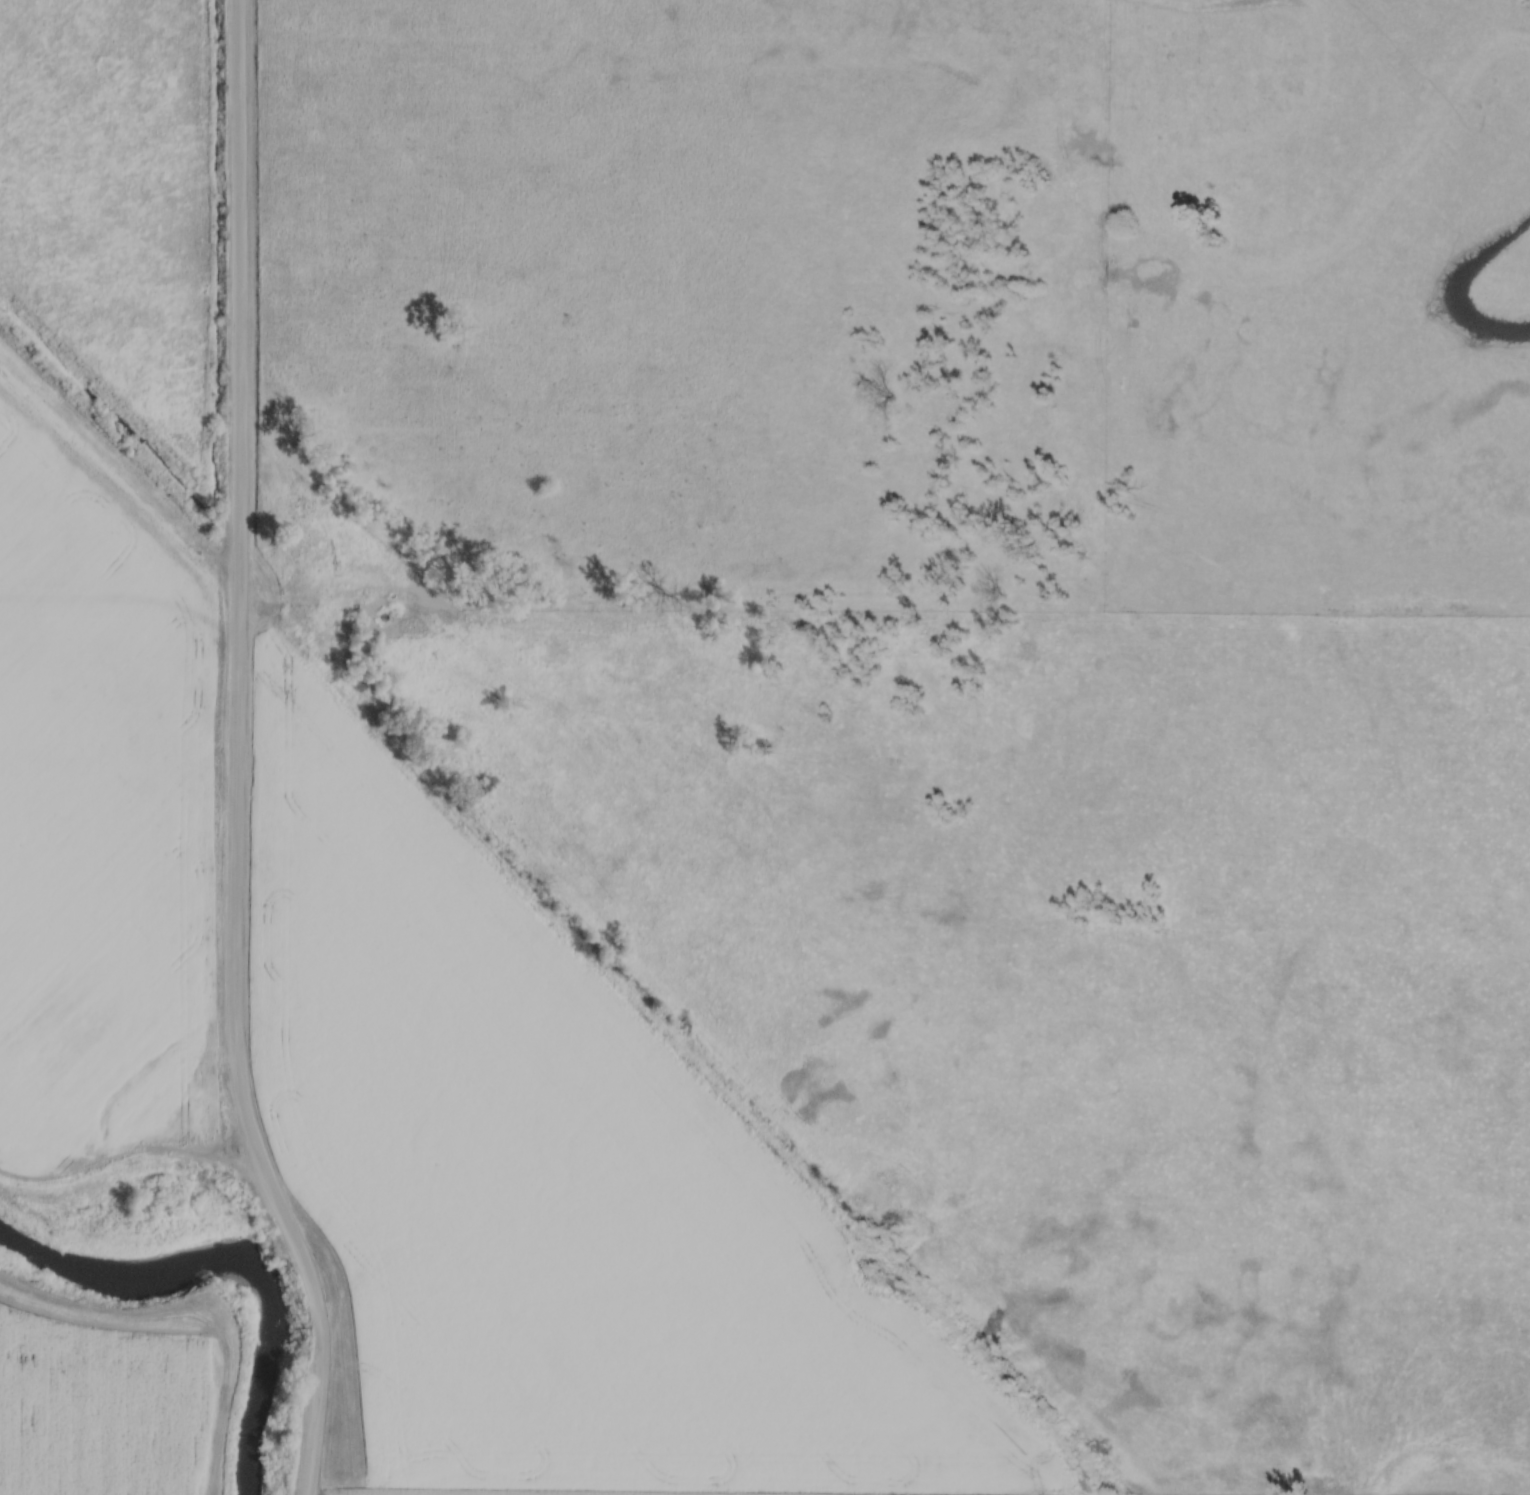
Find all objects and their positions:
river: (225, 413)
road: (237, 755)
river: (231, 1246)

